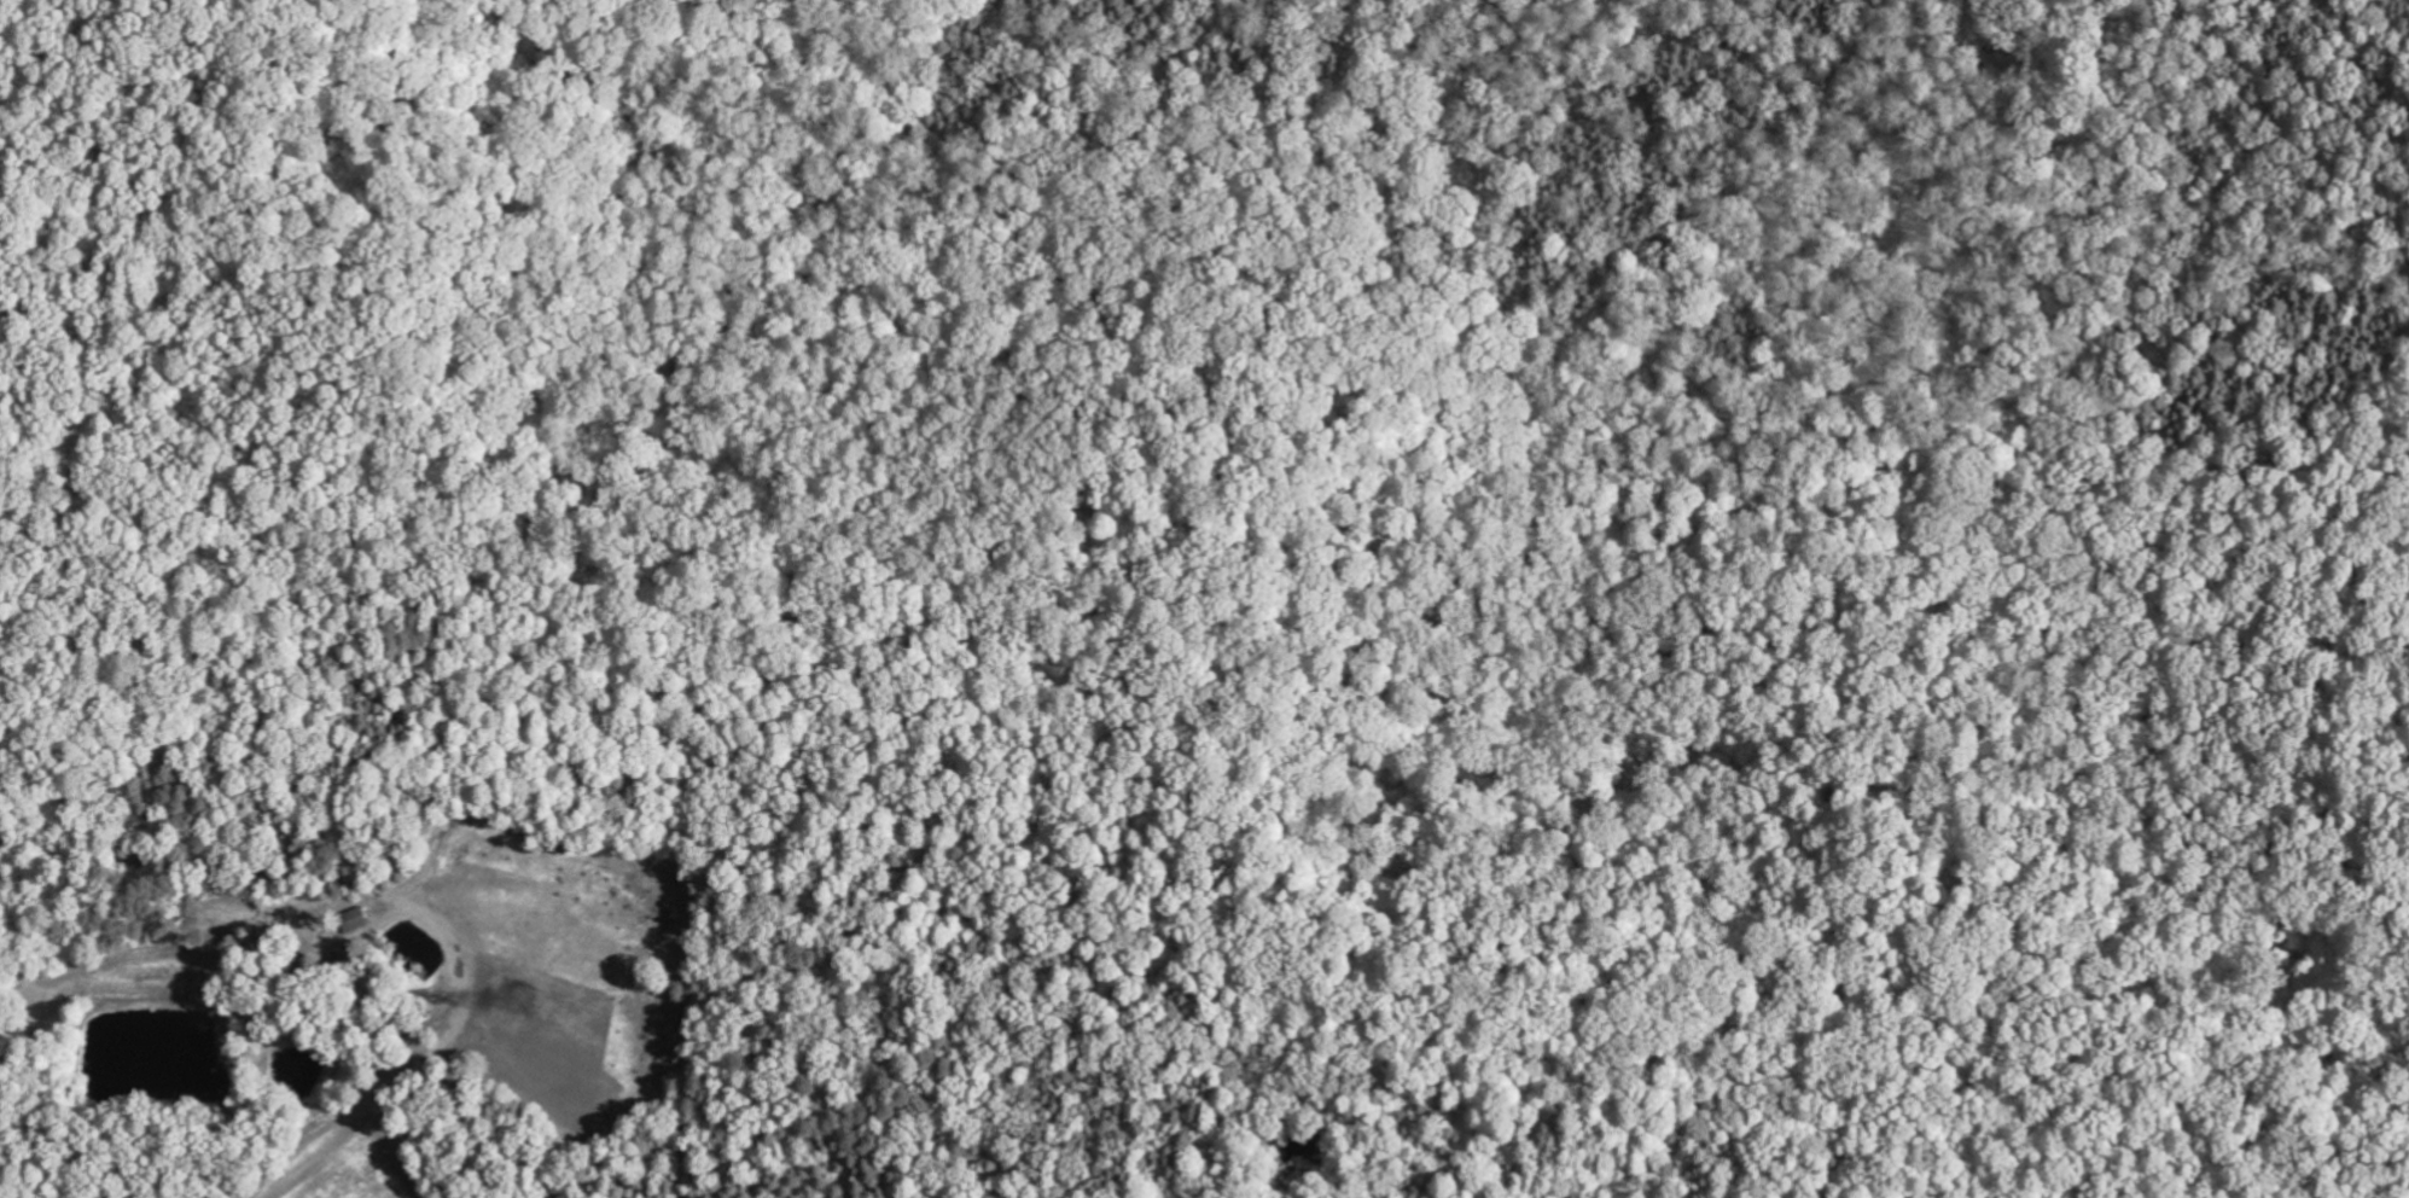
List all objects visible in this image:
road: (510, 885)

